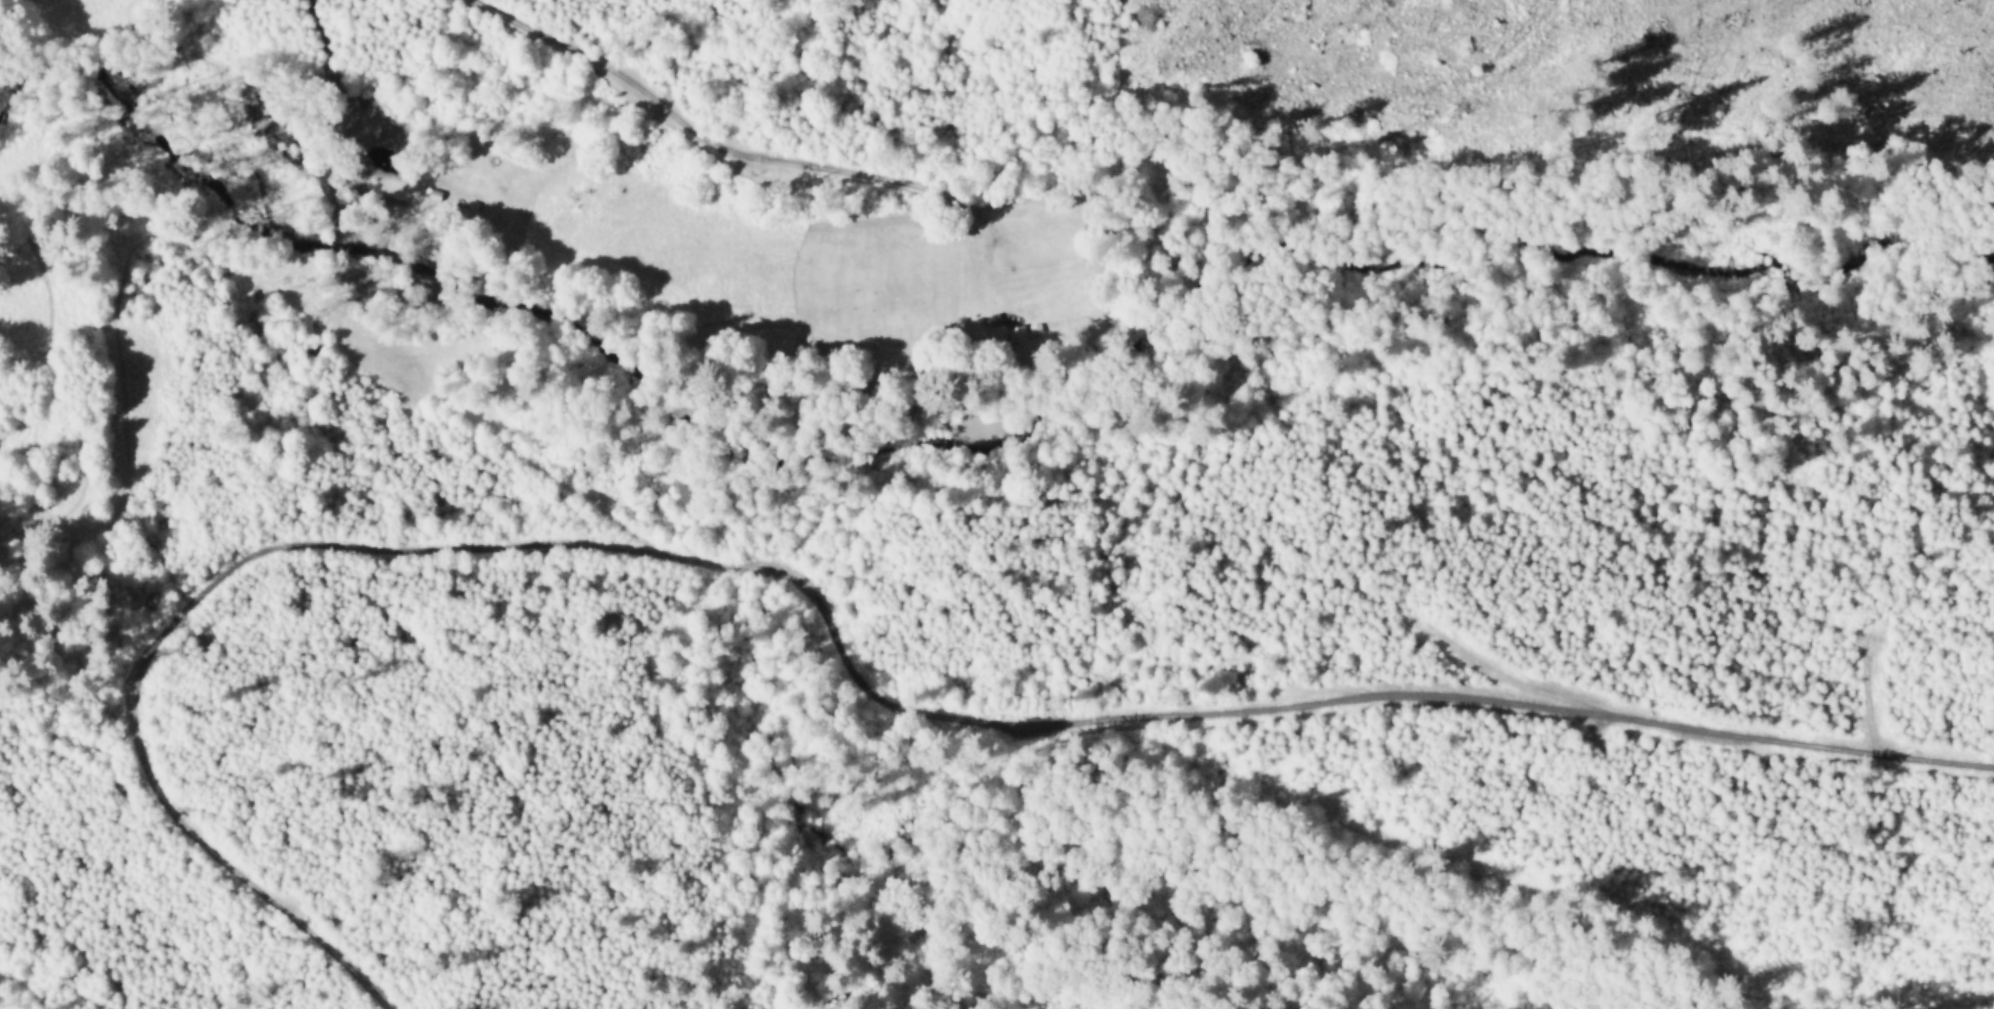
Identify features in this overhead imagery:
road: (869, 83)
road: (729, 150)
road: (384, 364)
road: (829, 628)

